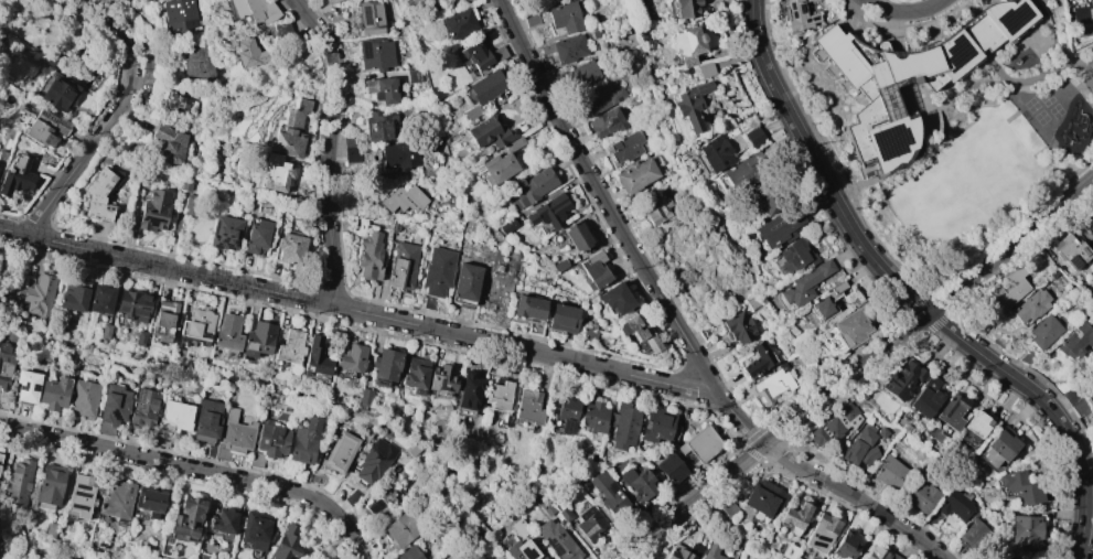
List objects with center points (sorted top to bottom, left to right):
building: (119, 0)
building: (437, 0)
building: (818, 0)
building: (331, 1)
road: (75, 2)
road: (735, 6)
building: (685, 8)
building: (255, 9)
road: (904, 11)
building: (179, 14)
building: (797, 15)
building: (369, 18)
building: (564, 18)
building: (531, 19)
building: (459, 22)
building: (281, 30)
road: (739, 32)
park: (58, 36)
building: (686, 44)
building: (570, 49)
road: (743, 50)
building: (250, 53)
building: (375, 53)
road: (130, 56)
building: (479, 57)
building: (197, 63)
building: (705, 69)
park: (1091, 71)
building: (581, 75)
building: (414, 76)
building: (909, 77)
building: (95, 79)
building: (381, 89)
building: (483, 92)
building: (853, 92)
building: (58, 93)
building: (598, 98)
park: (1046, 99)
building: (174, 100)
road: (779, 100)
building: (692, 104)
park: (1030, 105)
park: (1054, 111)
park: (1040, 117)
building: (607, 122)
road: (776, 123)
building: (378, 125)
building: (45, 128)
building: (289, 131)
building: (489, 132)
building: (753, 137)
building: (350, 139)
road: (785, 139)
building: (170, 142)
road: (330, 148)
building: (623, 148)
building: (714, 152)
building: (399, 154)
building: (499, 164)
road: (802, 170)
road: (787, 171)
building: (274, 172)
building: (744, 172)
building: (635, 174)
building: (17, 175)
road: (66, 179)
building: (184, 183)
building: (533, 186)
building: (98, 195)
building: (403, 200)
building: (767, 201)
road: (818, 201)
building: (191, 205)
building: (656, 209)
building: (153, 211)
building: (549, 212)
road: (844, 218)
building: (1087, 224)
building: (507, 226)
building: (780, 226)
road: (12, 232)
building: (224, 233)
building: (256, 235)
building: (577, 236)
building: (288, 249)
road: (847, 251)
road: (866, 251)
building: (1072, 251)
building: (793, 256)
building: (369, 257)
building: (559, 265)
road: (858, 266)
building: (403, 267)
park: (708, 270)
road: (861, 270)
building: (437, 271)
building: (593, 271)
building: (465, 282)
park: (11, 283)
building: (804, 283)
road: (900, 288)
building: (1009, 289)
building: (74, 294)
building: (39, 295)
building: (614, 299)
road: (936, 299)
building: (829, 301)
building: (100, 302)
building: (1030, 305)
building: (132, 307)
building: (529, 311)
road: (368, 314)
building: (562, 318)
building: (163, 320)
road: (675, 322)
building: (196, 326)
building: (738, 326)
road: (906, 326)
building: (850, 327)
building: (105, 331)
building: (228, 332)
building: (1043, 332)
building: (587, 334)
building: (637, 334)
road: (921, 335)
building: (140, 338)
building: (258, 340)
building: (1075, 341)
road: (942, 343)
building: (290, 346)
road: (947, 348)
road: (954, 353)
building: (315, 357)
building: (351, 358)
building: (758, 359)
building: (4, 363)
road: (969, 365)
building: (385, 366)
road: (857, 367)
building: (415, 375)
building: (442, 377)
building: (903, 379)
road: (988, 379)
building: (772, 385)
building: (26, 386)
road: (1001, 388)
building: (469, 390)
building: (53, 393)
road: (1010, 394)
building: (499, 395)
building: (364, 396)
building: (83, 397)
building: (925, 397)
building: (1090, 399)
building: (528, 406)
road: (1027, 406)
building: (144, 407)
building: (112, 408)
building: (447, 408)
road: (1050, 410)
building: (567, 412)
building: (951, 412)
building: (174, 416)
building: (593, 417)
road: (1041, 420)
building: (899, 421)
building: (977, 423)
road: (1026, 423)
building: (207, 424)
building: (623, 424)
building: (835, 424)
building: (658, 426)
building: (907, 428)
building: (882, 432)
building: (867, 434)
building: (234, 436)
building: (161, 438)
building: (304, 441)
building: (269, 443)
building: (699, 443)
building: (999, 447)
building: (414, 449)
building: (851, 451)
building: (339, 452)
building: (0, 455)
building: (868, 455)
building: (375, 461)
building: (669, 467)
road: (194, 470)
building: (890, 473)
building: (313, 477)
building: (18, 482)
building: (637, 482)
building: (50, 486)
building: (1020, 487)
road: (1069, 490)
building: (609, 494)
building: (81, 496)
building: (353, 496)
building: (921, 496)
building: (761, 497)
building: (117, 501)
building: (149, 501)
building: (381, 501)
building: (954, 504)
building: (545, 507)
building: (728, 508)
building: (565, 514)
road: (1070, 515)
building: (795, 516)
building: (187, 518)
building: (223, 522)
building: (590, 524)
building: (519, 527)
building: (50, 529)
building: (256, 529)
building: (1024, 529)
building: (399, 530)
building: (822, 533)
road: (1086, 534)
building: (974, 535)
park: (11, 538)
building: (557, 540)
building: (286, 544)
building: (846, 544)
building: (521, 548)
building: (787, 550)
building: (711, 551)
building: (879, 552)
building: (409, 553)
building: (678, 555)
building: (201, 556)

